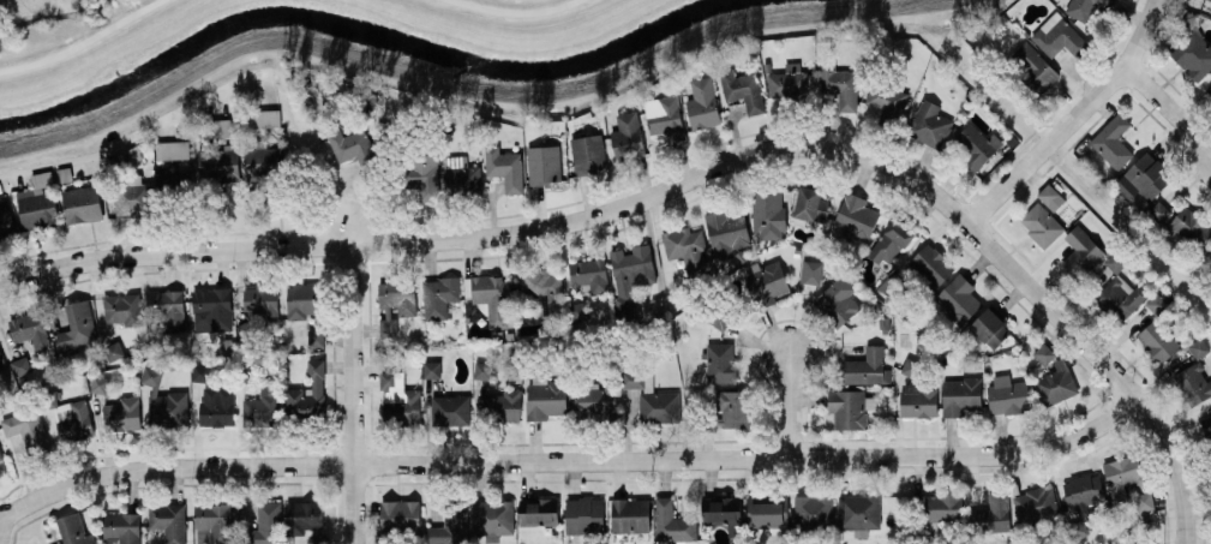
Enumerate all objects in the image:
building: (1210, 0)
building: (1086, 7)
wastewater plant: (37, 11)
road: (514, 12)
river: (346, 23)
building: (1059, 36)
road: (83, 42)
building: (1193, 54)
building: (1035, 64)
road: (629, 78)
building: (787, 82)
building: (839, 84)
road: (227, 86)
building: (743, 89)
building: (887, 100)
building: (702, 103)
road: (1170, 106)
building: (664, 116)
building: (264, 118)
road: (1073, 120)
building: (929, 122)
building: (216, 127)
building: (627, 134)
building: (1111, 141)
building: (975, 144)
building: (354, 148)
building: (172, 149)
building: (588, 154)
building: (264, 163)
building: (218, 165)
building: (544, 165)
building: (504, 167)
road: (1066, 167)
building: (424, 174)
building: (460, 174)
building: (170, 178)
building: (1145, 178)
building: (1050, 196)
building: (133, 197)
building: (37, 202)
building: (82, 204)
building: (811, 204)
road: (618, 208)
building: (1158, 210)
building: (768, 214)
building: (855, 217)
building: (6, 223)
building: (1041, 223)
building: (1191, 226)
building: (726, 232)
building: (891, 241)
building: (685, 247)
building: (1080, 251)
building: (931, 263)
building: (810, 271)
building: (587, 274)
building: (630, 275)
building: (766, 281)
building: (542, 289)
building: (438, 295)
building: (490, 295)
building: (1120, 297)
building: (958, 298)
building: (302, 300)
building: (837, 300)
building: (1159, 301)
building: (394, 303)
building: (122, 309)
building: (167, 309)
building: (257, 309)
building: (211, 310)
building: (581, 310)
building: (719, 319)
building: (77, 327)
building: (989, 328)
building: (30, 329)
building: (314, 337)
building: (1157, 340)
building: (1198, 347)
building: (113, 349)
building: (1043, 353)
building: (1, 360)
building: (721, 363)
building: (20, 365)
building: (864, 366)
building: (911, 367)
building: (431, 369)
building: (481, 370)
building: (200, 372)
building: (98, 383)
building: (1055, 383)
building: (1193, 384)
building: (307, 394)
road: (355, 394)
building: (960, 395)
building: (1007, 395)
building: (652, 396)
building: (595, 399)
building: (398, 400)
building: (545, 400)
building: (918, 400)
building: (163, 403)
building: (502, 403)
building: (216, 405)
road: (793, 405)
building: (262, 406)
building: (850, 407)
building: (733, 408)
building: (450, 410)
building: (121, 414)
building: (73, 420)
building: (1207, 426)
building: (26, 429)
building: (1, 456)
road: (569, 461)
road: (1175, 466)
building: (1122, 474)
building: (1083, 490)
building: (1144, 501)
building: (1035, 503)
building: (942, 507)
building: (813, 509)
building: (538, 510)
building: (767, 510)
building: (723, 513)
building: (858, 513)
building: (630, 514)
building: (991, 514)
building: (400, 515)
building: (583, 515)
building: (302, 516)
building: (492, 518)
building: (168, 521)
building: (672, 522)
building: (212, 524)
building: (264, 525)
building: (450, 525)
building: (121, 526)
building: (72, 530)

